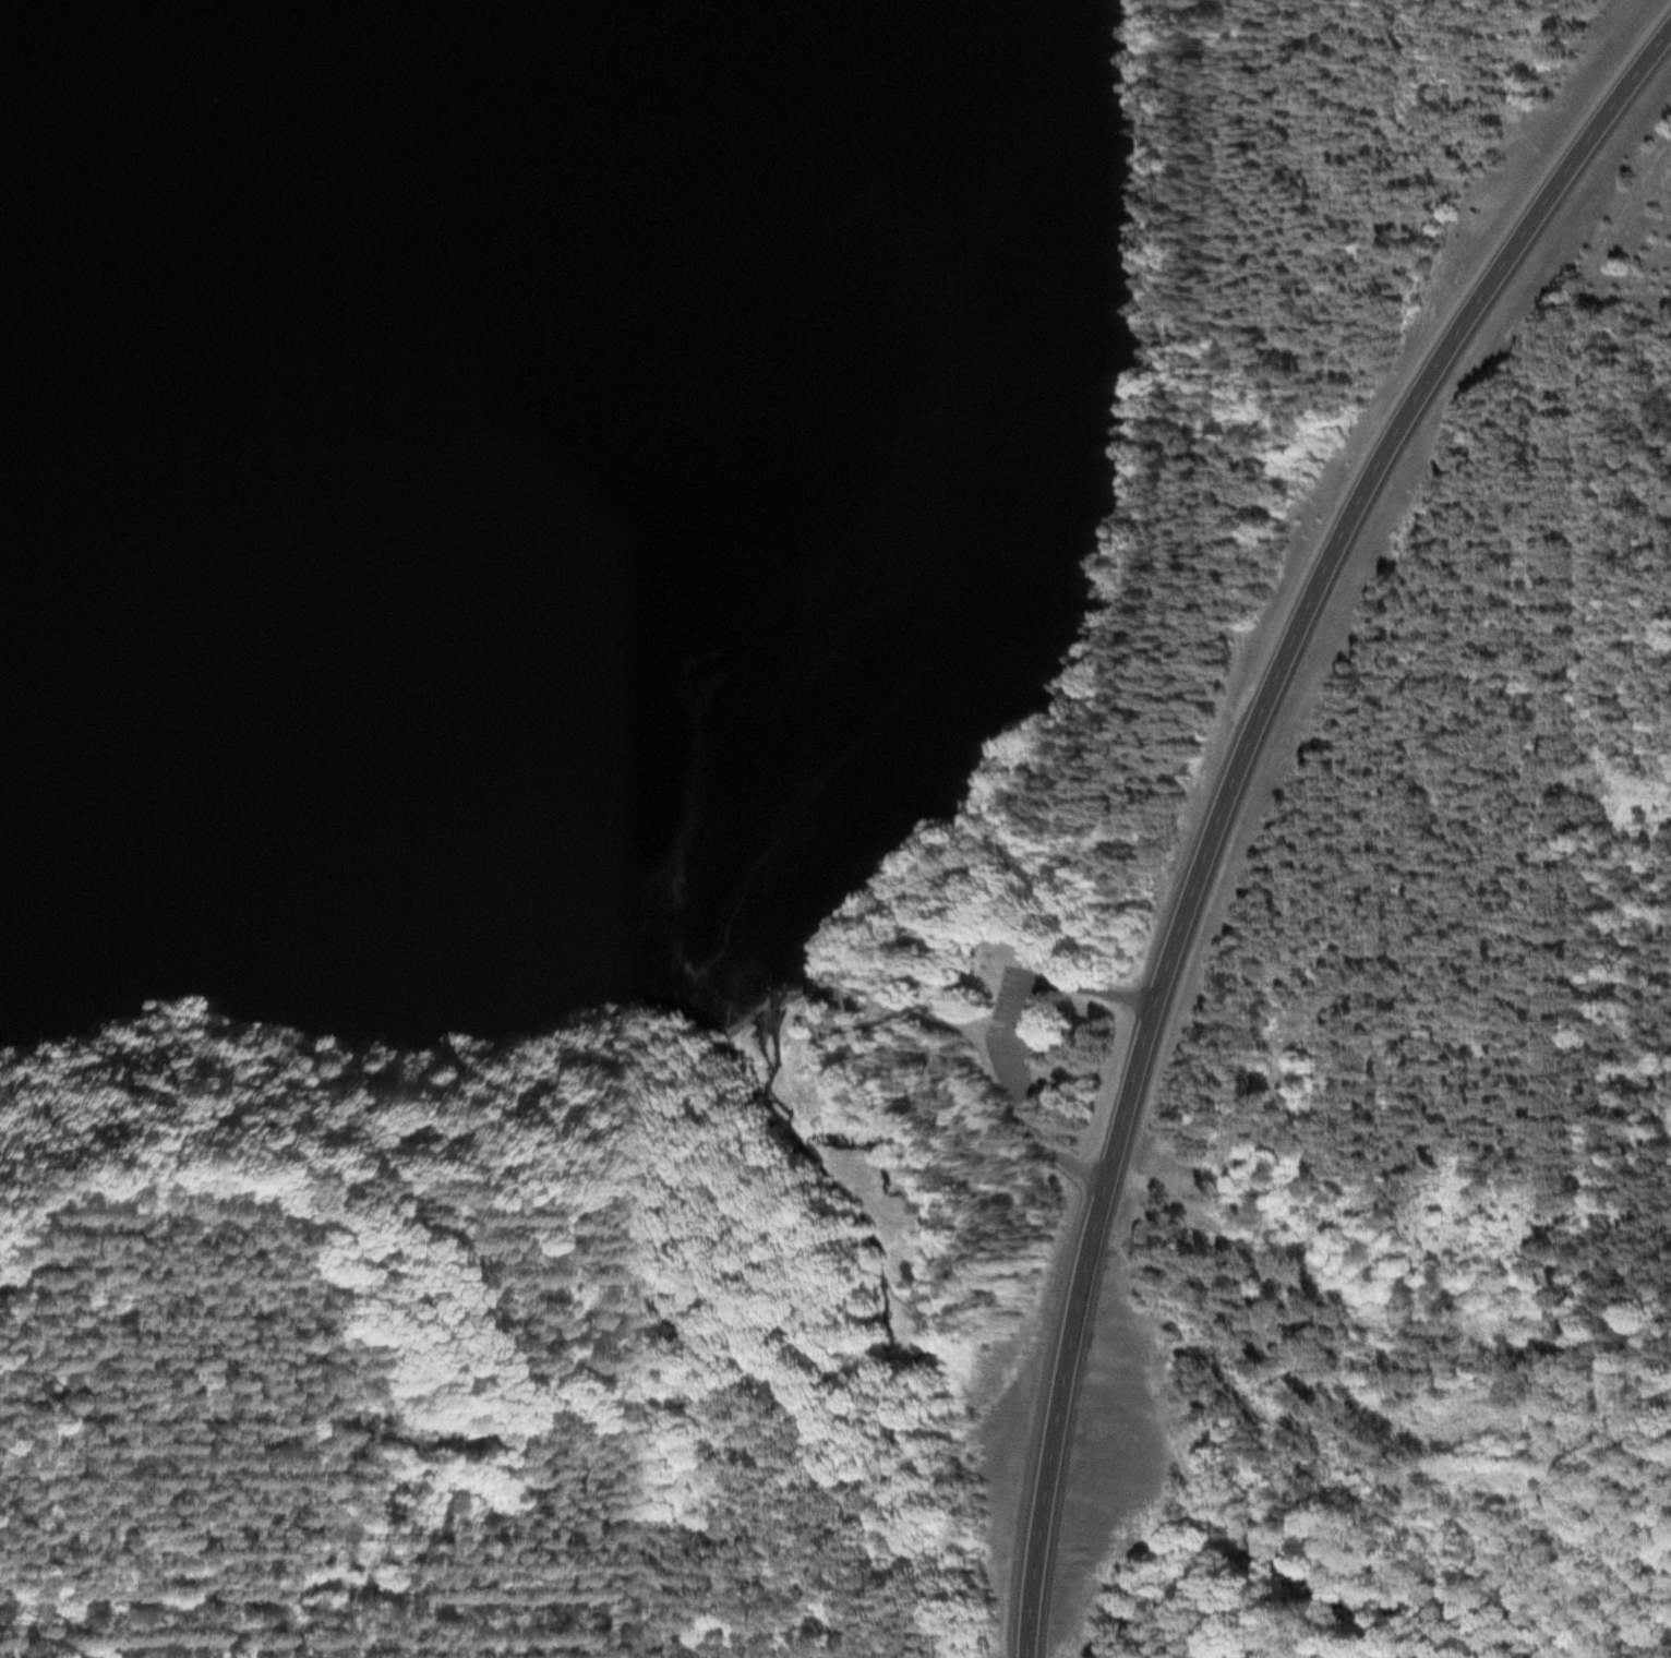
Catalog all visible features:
road: (1224, 790)
parking lot: (1017, 1008)
road: (818, 1009)
park: (977, 1034)
road: (1009, 1041)
road: (306, 1429)

